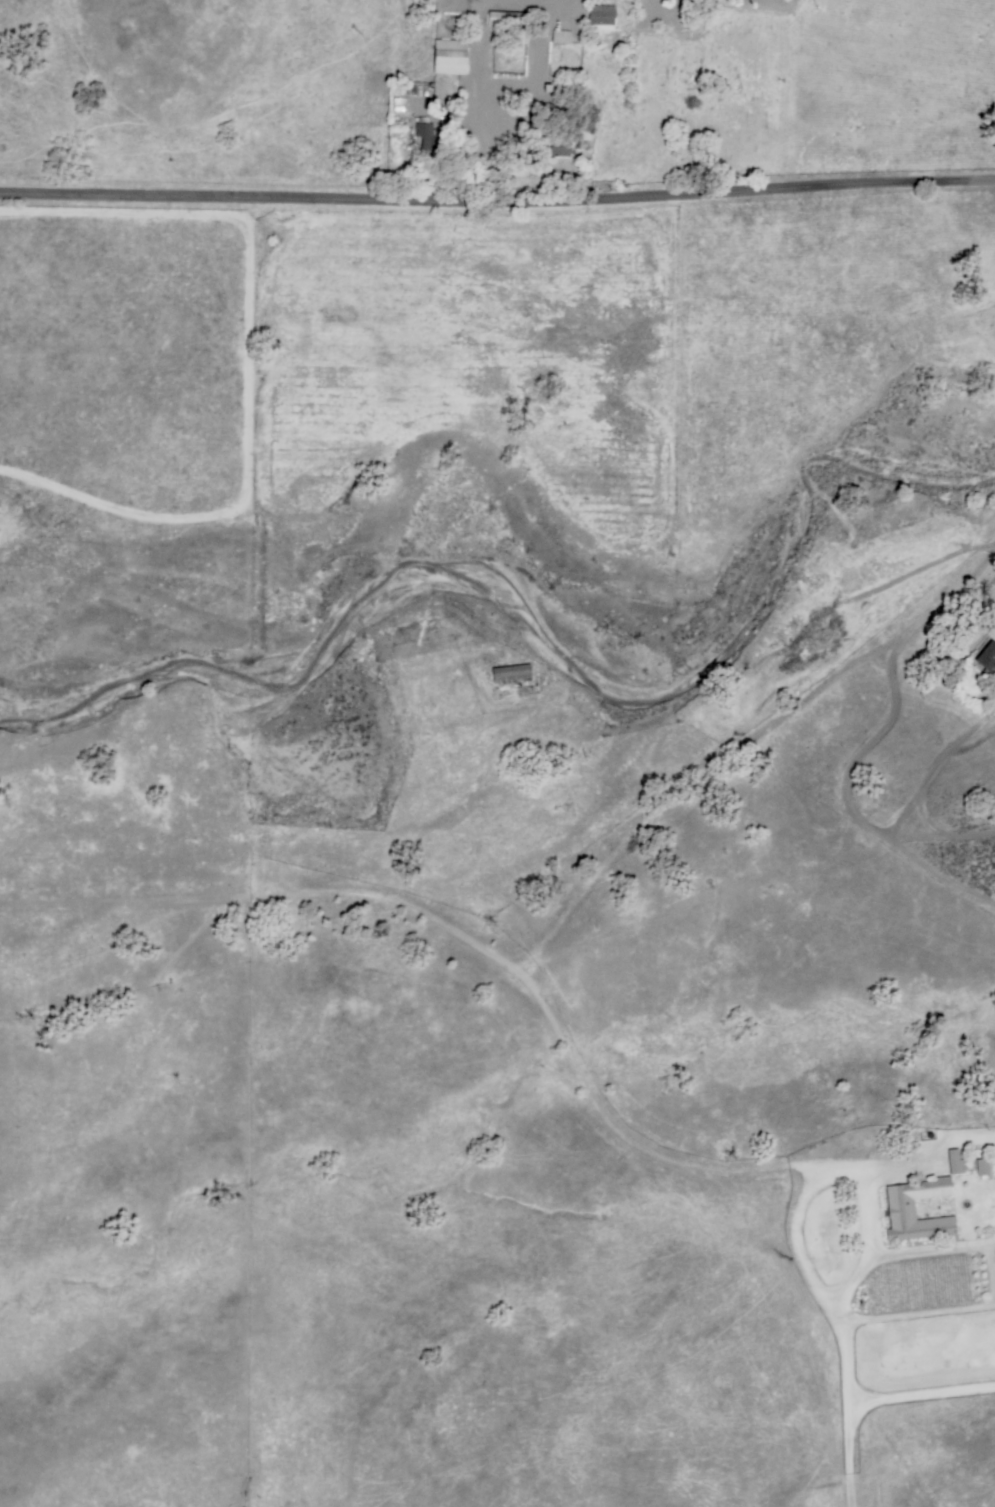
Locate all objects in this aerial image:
building: (600, 16)
building: (504, 19)
building: (559, 34)
building: (448, 55)
building: (397, 102)
building: (422, 131)
building: (561, 145)
road: (497, 205)
building: (986, 655)
building: (509, 671)
road: (273, 795)
road: (474, 942)
building: (953, 1161)
building: (980, 1165)
building: (899, 1206)
building: (994, 1252)

